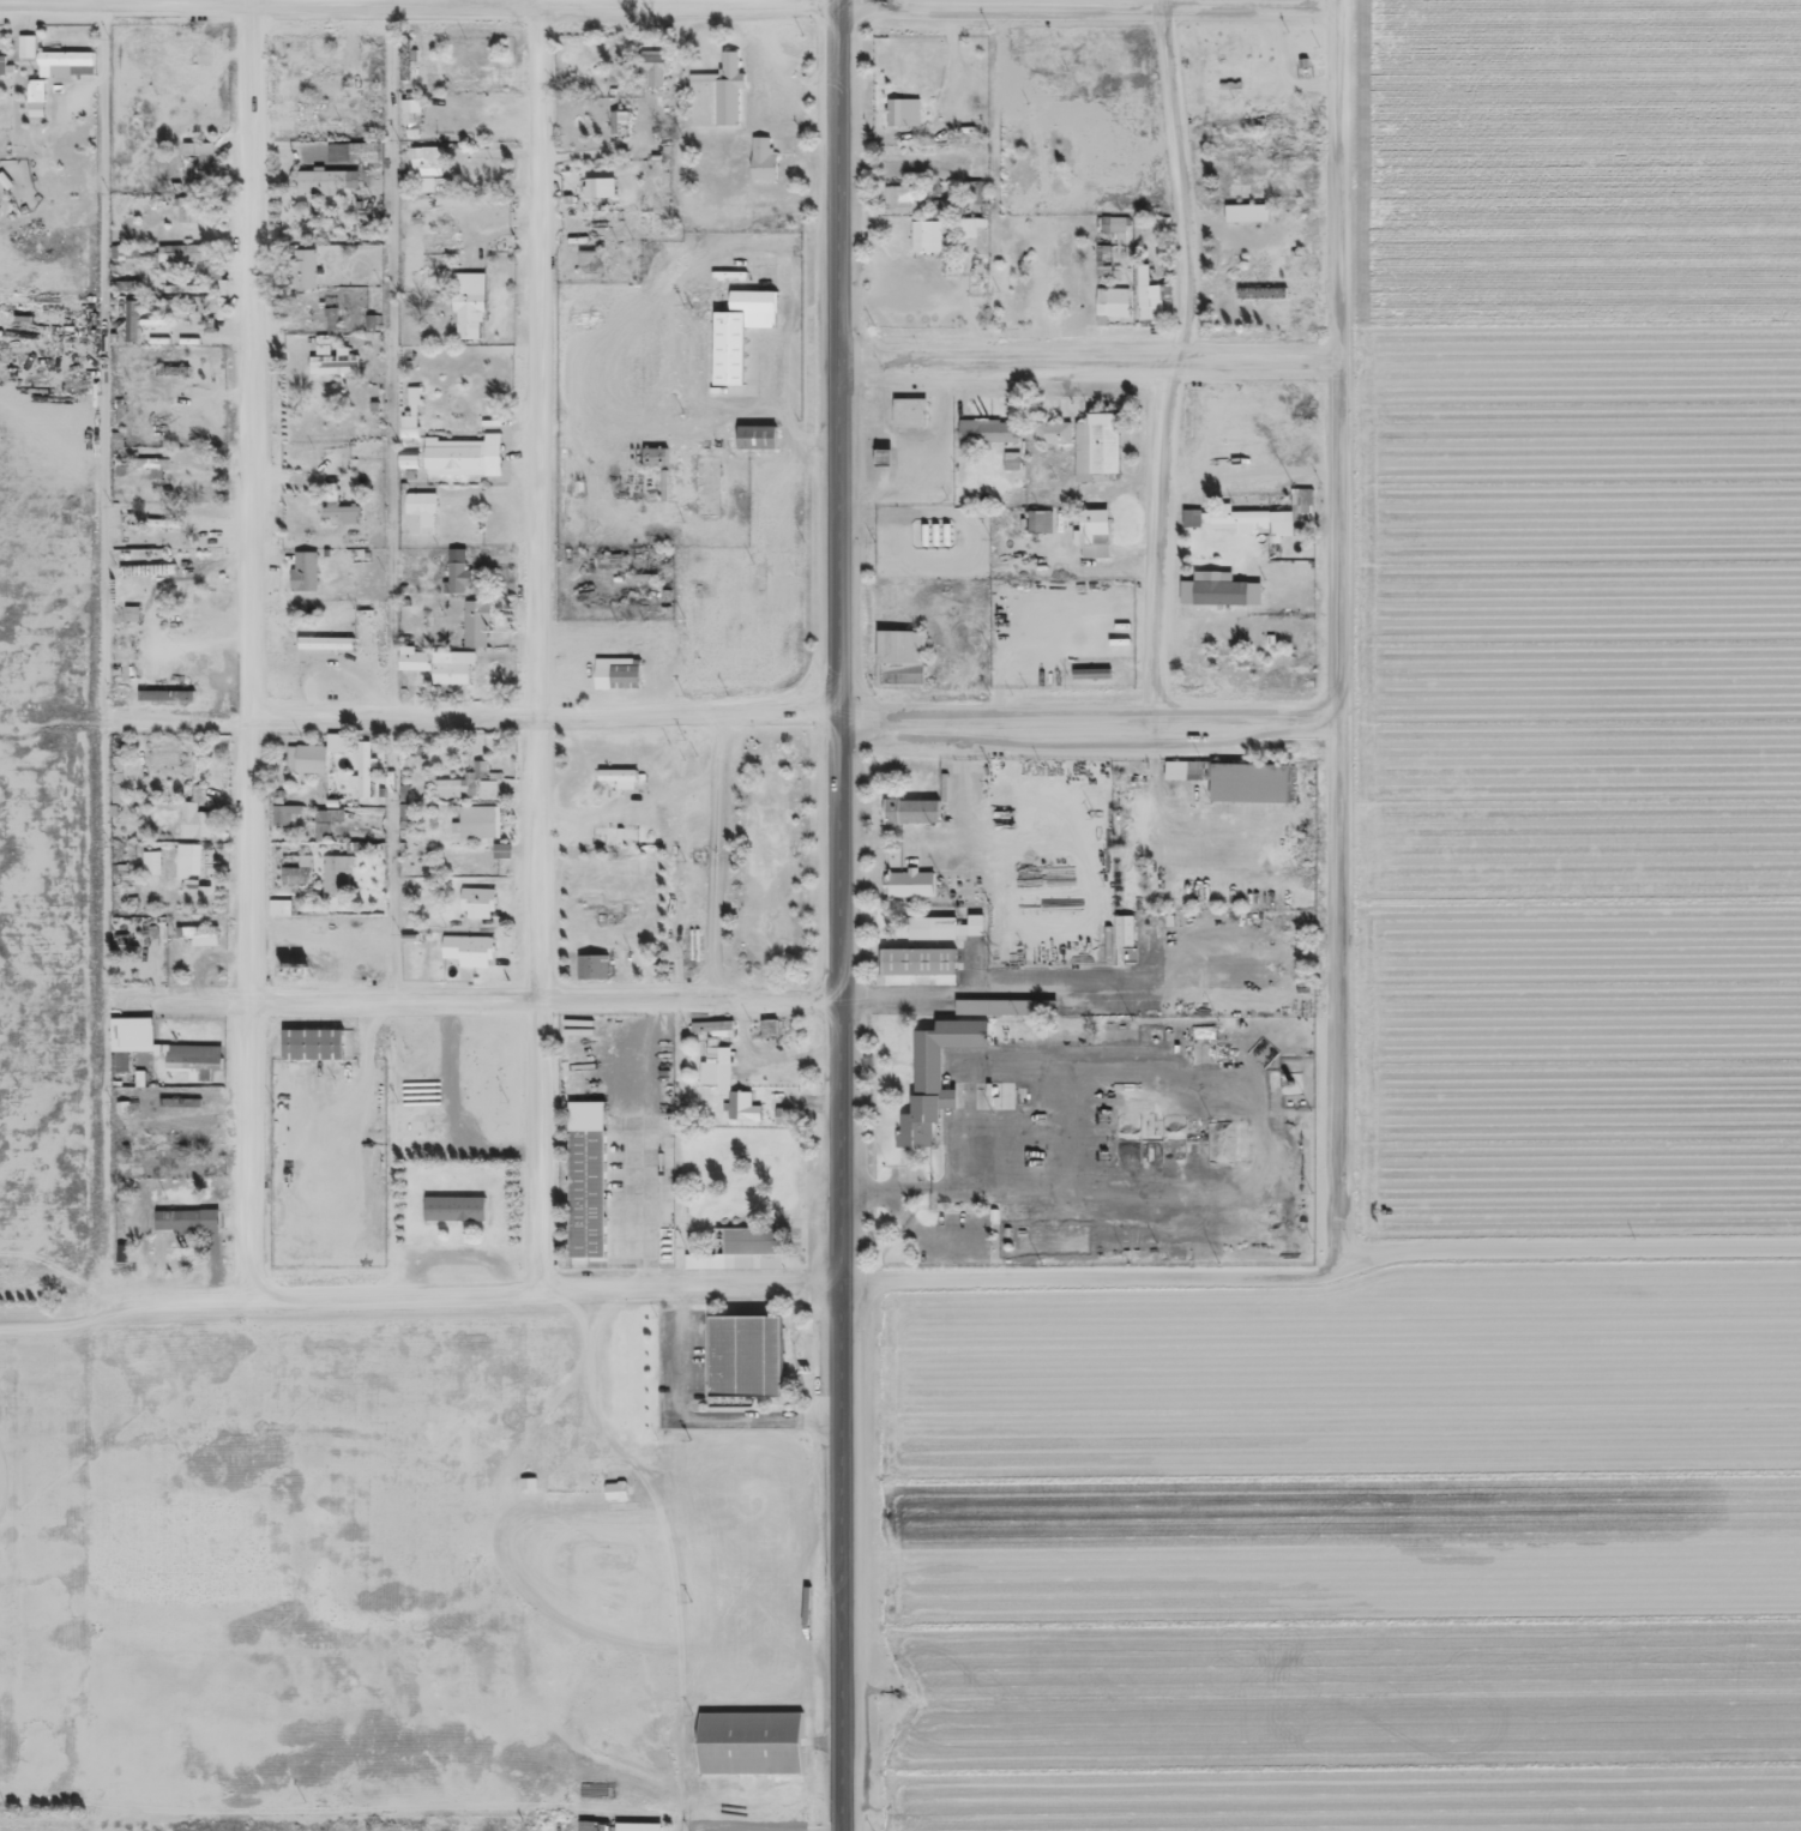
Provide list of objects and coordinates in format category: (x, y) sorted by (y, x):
road: (614, 0)
road: (999, 1)
road: (1248, 1)
building: (1235, 54)
building: (65, 62)
building: (651, 64)
building: (1, 66)
building: (315, 67)
building: (460, 76)
building: (721, 103)
building: (902, 112)
building: (320, 116)
building: (618, 122)
building: (321, 127)
building: (966, 133)
building: (351, 152)
building: (1037, 157)
building: (424, 161)
building: (197, 164)
building: (767, 164)
building: (321, 176)
building: (600, 179)
road: (1000, 179)
road: (1181, 181)
building: (972, 191)
building: (898, 199)
building: (187, 210)
building: (1246, 213)
building: (595, 224)
building: (1112, 229)
building: (924, 236)
road: (1257, 237)
building: (179, 253)
building: (303, 260)
building: (1102, 260)
building: (589, 263)
building: (1002, 266)
building: (1260, 293)
building: (468, 294)
building: (1110, 302)
building: (1150, 303)
building: (741, 339)
building: (173, 361)
road: (1085, 361)
building: (332, 362)
building: (909, 411)
building: (987, 430)
building: (1050, 430)
building: (761, 444)
building: (1096, 445)
building: (463, 448)
building: (150, 452)
building: (653, 456)
building: (406, 459)
building: (150, 465)
road: (397, 499)
building: (420, 504)
building: (341, 508)
building: (1254, 517)
building: (1038, 520)
building: (1092, 532)
road: (1161, 534)
building: (609, 560)
building: (456, 566)
building: (303, 571)
building: (131, 615)
building: (477, 615)
helipad: (933, 630)
building: (324, 636)
building: (636, 636)
road: (1333, 637)
road: (542, 645)
road: (247, 646)
building: (899, 657)
building: (1225, 658)
building: (438, 664)
building: (618, 665)
building: (1088, 674)
building: (1288, 674)
building: (167, 688)
road: (1084, 705)
road: (542, 715)
building: (314, 747)
building: (366, 760)
building: (622, 769)
building: (1237, 778)
building: (466, 783)
building: (910, 809)
building: (478, 815)
building: (192, 820)
building: (186, 860)
building: (335, 872)
building: (477, 895)
building: (603, 909)
road: (838, 915)
building: (945, 927)
building: (1122, 929)
building: (198, 934)
building: (469, 942)
building: (594, 957)
building: (917, 960)
road: (543, 995)
road: (177, 1000)
building: (978, 1006)
building: (767, 1028)
building: (713, 1029)
building: (131, 1034)
building: (314, 1034)
building: (193, 1050)
building: (933, 1066)
building: (713, 1079)
building: (741, 1107)
building: (150, 1133)
building: (591, 1186)
building: (453, 1209)
building: (187, 1211)
building: (752, 1240)
road: (1324, 1273)
road: (543, 1290)
road: (177, 1295)
building: (748, 1362)
building: (614, 1490)
building: (751, 1736)
building: (638, 1821)
building: (591, 1825)

